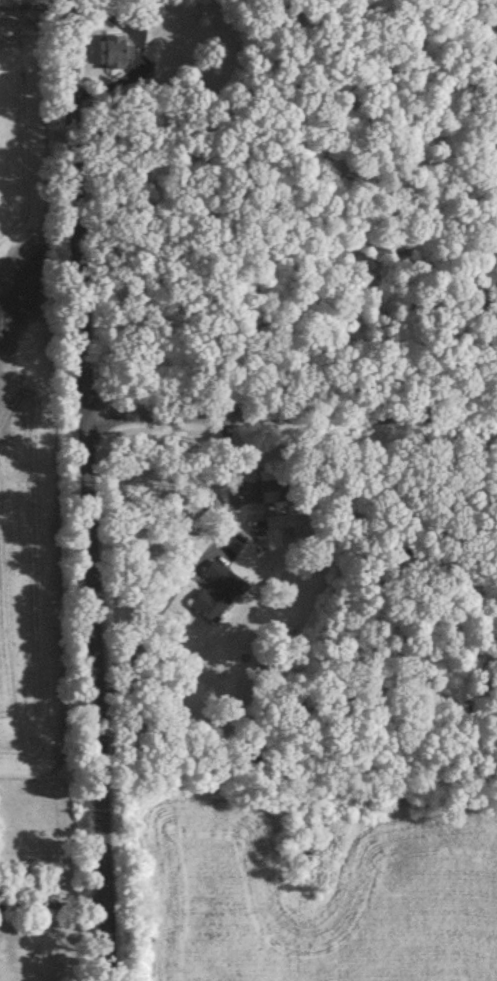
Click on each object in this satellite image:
road: (39, 5)
building: (117, 55)
road: (296, 413)
building: (273, 487)
road: (98, 490)
building: (216, 595)
road: (56, 906)

